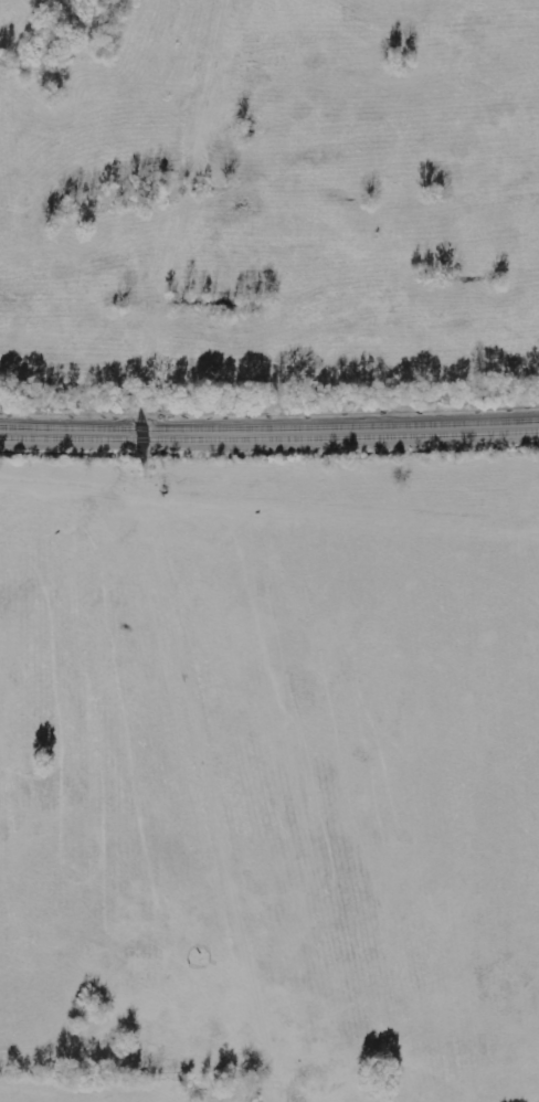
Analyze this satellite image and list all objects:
railway: (269, 432)
railway: (269, 441)

